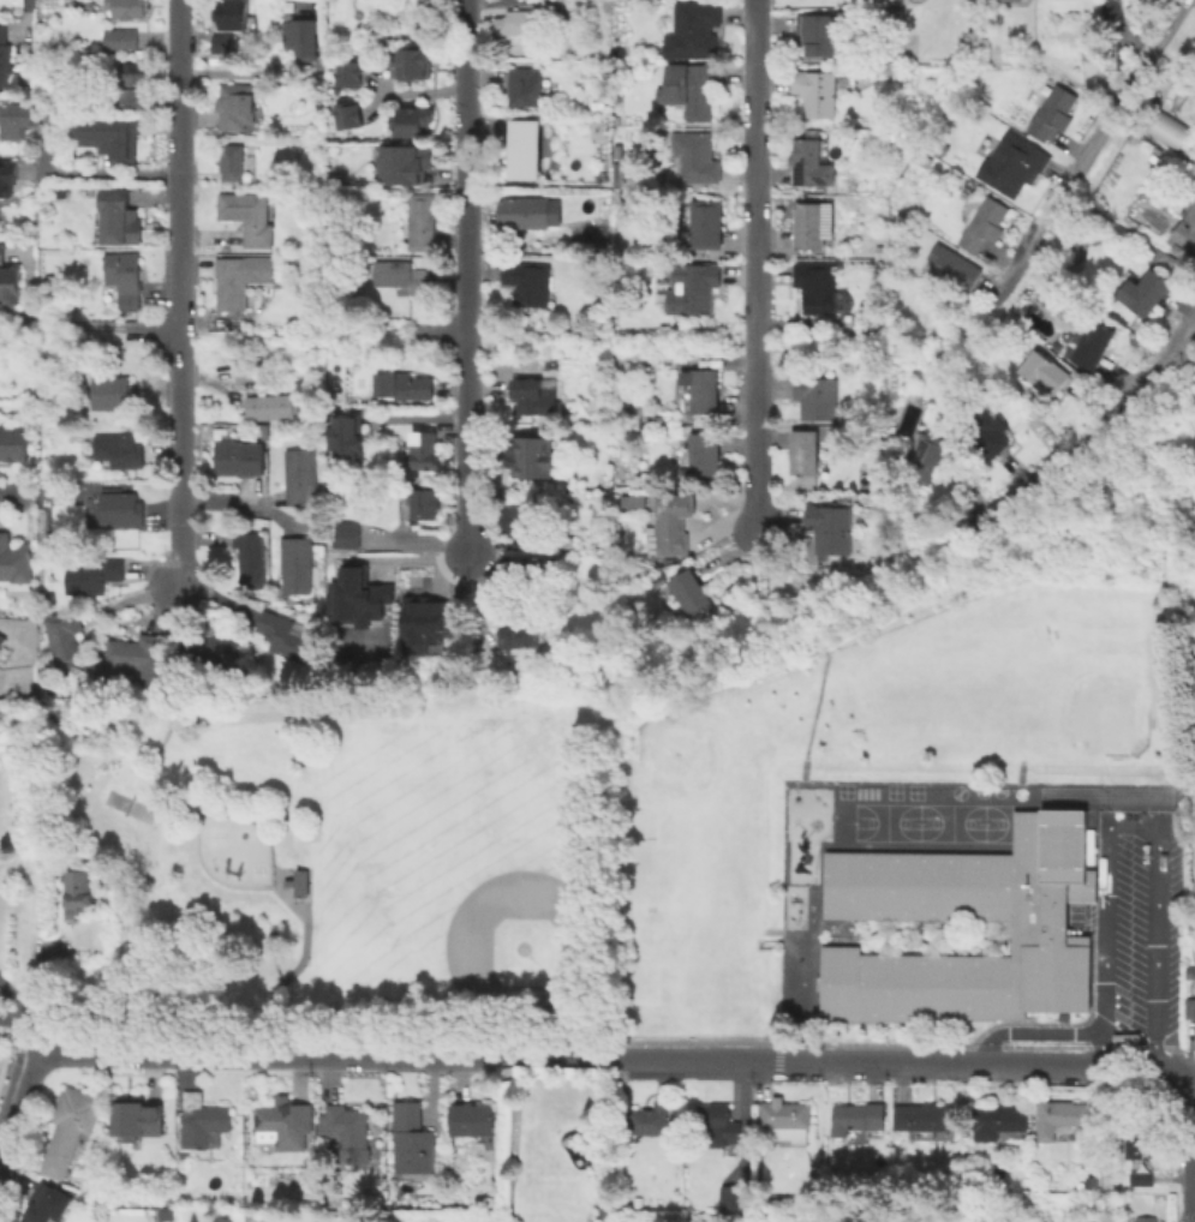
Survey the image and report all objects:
building: (1009, 0)
building: (432, 1)
building: (129, 7)
road: (23, 10)
building: (1111, 10)
building: (886, 12)
building: (232, 13)
building: (516, 22)
building: (695, 29)
building: (818, 32)
building: (301, 37)
building: (222, 43)
building: (126, 47)
building: (1089, 47)
building: (6, 60)
building: (1194, 64)
building: (413, 66)
building: (127, 71)
building: (349, 76)
building: (526, 85)
building: (700, 90)
building: (815, 91)
building: (235, 106)
building: (1052, 112)
building: (348, 115)
building: (19, 121)
building: (412, 121)
building: (1166, 130)
building: (110, 136)
building: (527, 150)
road: (1089, 151)
building: (698, 158)
building: (231, 161)
building: (807, 161)
building: (406, 167)
building: (1018, 168)
building: (622, 172)
building: (8, 181)
road: (101, 182)
building: (521, 211)
building: (247, 216)
building: (118, 220)
building: (420, 221)
building: (707, 223)
building: (813, 223)
building: (985, 223)
building: (1187, 230)
building: (1177, 248)
building: (882, 251)
road: (754, 264)
building: (951, 268)
building: (402, 276)
road: (471, 277)
building: (240, 278)
building: (125, 281)
building: (528, 281)
building: (10, 284)
building: (815, 286)
building: (697, 287)
building: (1143, 292)
road: (178, 293)
road: (108, 335)
road: (467, 337)
building: (1095, 343)
building: (1045, 371)
building: (404, 385)
building: (703, 389)
building: (114, 393)
building: (527, 394)
building: (815, 396)
building: (268, 407)
building: (679, 430)
building: (988, 431)
road: (1094, 435)
building: (348, 441)
building: (13, 443)
building: (120, 449)
building: (420, 450)
building: (803, 451)
building: (703, 456)
building: (925, 456)
building: (239, 457)
building: (533, 460)
building: (301, 475)
road: (972, 492)
road: (17, 495)
building: (629, 501)
building: (423, 504)
building: (121, 509)
building: (519, 520)
building: (673, 522)
building: (830, 528)
building: (347, 534)
building: (250, 559)
building: (14, 561)
building: (295, 564)
building: (521, 567)
road: (1065, 571)
building: (94, 575)
building: (691, 592)
building: (357, 595)
road: (757, 599)
building: (428, 623)
building: (521, 631)
road: (1173, 634)
building: (285, 636)
building: (1, 637)
building: (64, 637)
building: (0, 647)
building: (210, 648)
building: (136, 653)
park: (956, 672)
park: (1089, 695)
road: (610, 699)
road: (817, 703)
park: (695, 766)
park: (844, 790)
park: (980, 790)
park: (997, 790)
park: (892, 791)
park: (914, 791)
park: (957, 791)
park: (1018, 792)
track: (1105, 795)
park: (126, 804)
road: (227, 815)
road: (1107, 819)
park: (885, 821)
park: (950, 822)
park: (994, 823)
road: (1129, 827)
park: (388, 859)
park: (348, 865)
building: (298, 883)
building: (77, 892)
building: (943, 909)
park: (498, 921)
parking lot: (1141, 928)
building: (1193, 950)
road: (40, 977)
road: (6, 1000)
building: (1190, 1007)
road: (22, 1025)
road: (1036, 1035)
road: (789, 1044)
road: (619, 1059)
road: (24, 1108)
building: (922, 1115)
building: (133, 1116)
building: (855, 1116)
building: (1059, 1116)
building: (646, 1119)
building: (783, 1119)
building: (203, 1121)
building: (473, 1121)
building: (282, 1122)
building: (1000, 1122)
building: (715, 1126)
building: (67, 1127)
building: (347, 1131)
building: (410, 1139)
building: (1140, 1144)
building: (1092, 1181)
building: (731, 1196)
road: (1194, 1200)
building: (638, 1202)
building: (47, 1206)
building: (1145, 1218)
building: (1042, 1221)

